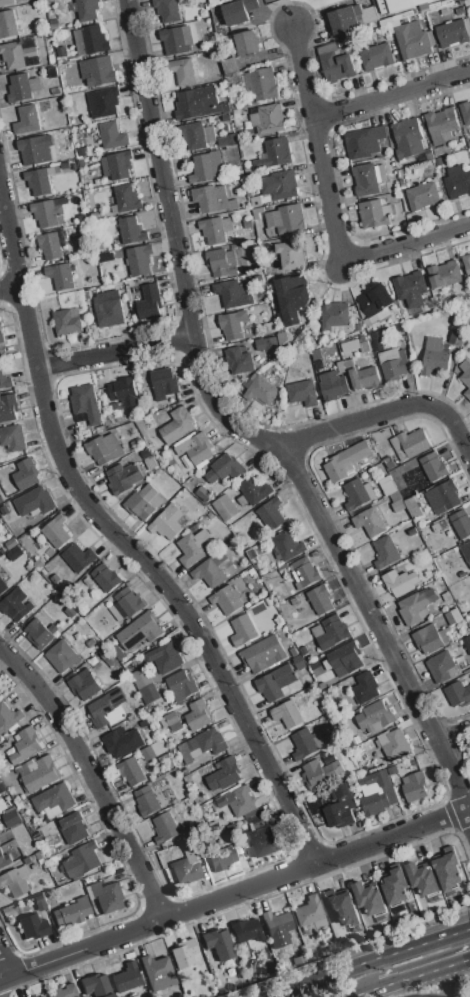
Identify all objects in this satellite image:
building: (266, 0)
building: (6, 2)
building: (251, 4)
building: (397, 5)
building: (87, 10)
building: (167, 10)
building: (235, 12)
building: (345, 18)
building: (53, 21)
building: (8, 24)
building: (54, 27)
building: (205, 32)
building: (452, 32)
building: (412, 37)
building: (176, 39)
building: (90, 40)
building: (247, 42)
building: (62, 52)
building: (16, 55)
building: (377, 56)
building: (335, 62)
building: (230, 65)
building: (99, 71)
building: (185, 71)
building: (262, 83)
building: (22, 87)
road: (392, 93)
building: (103, 102)
building: (198, 103)
building: (465, 112)
building: (268, 118)
building: (27, 120)
building: (441, 125)
building: (112, 135)
building: (199, 135)
building: (408, 138)
building: (227, 139)
building: (364, 141)
road: (319, 143)
building: (36, 148)
building: (81, 152)
building: (275, 153)
building: (116, 164)
building: (65, 165)
building: (208, 166)
building: (368, 178)
building: (38, 182)
building: (457, 182)
building: (279, 184)
building: (422, 196)
building: (127, 198)
building: (210, 198)
building: (60, 200)
building: (256, 200)
building: (232, 204)
building: (46, 212)
building: (257, 212)
building: (374, 213)
building: (288, 217)
building: (132, 229)
building: (215, 229)
road: (10, 236)
road: (405, 243)
building: (50, 245)
building: (290, 255)
building: (139, 260)
building: (222, 263)
building: (467, 263)
building: (61, 275)
building: (444, 275)
building: (410, 288)
building: (233, 292)
building: (293, 297)
building: (98, 298)
building: (150, 301)
building: (374, 301)
building: (111, 313)
building: (335, 315)
road: (27, 317)
building: (67, 321)
building: (233, 324)
building: (1, 336)
building: (376, 336)
building: (457, 337)
building: (282, 340)
building: (266, 343)
building: (349, 344)
building: (377, 345)
road: (115, 354)
building: (316, 354)
building: (434, 357)
building: (240, 360)
building: (393, 363)
building: (319, 365)
building: (341, 366)
building: (465, 376)
building: (364, 378)
building: (5, 380)
building: (163, 383)
building: (332, 385)
building: (260, 390)
building: (303, 392)
building: (123, 393)
building: (85, 402)
building: (8, 408)
road: (389, 414)
building: (177, 425)
road: (244, 430)
building: (13, 437)
building: (410, 443)
building: (104, 448)
building: (196, 448)
building: (346, 461)
building: (389, 462)
building: (433, 466)
building: (225, 468)
building: (26, 474)
building: (123, 478)
building: (388, 487)
building: (254, 489)
building: (202, 492)
building: (356, 493)
building: (444, 495)
building: (34, 501)
building: (143, 502)
building: (398, 505)
building: (225, 507)
building: (4, 510)
building: (270, 513)
building: (369, 521)
building: (167, 522)
building: (461, 523)
building: (56, 531)
building: (412, 531)
building: (11, 542)
building: (288, 546)
building: (192, 547)
building: (466, 550)
building: (385, 552)
building: (15, 553)
building: (79, 557)
building: (38, 563)
building: (210, 569)
building: (304, 572)
building: (105, 577)
building: (55, 578)
building: (400, 582)
building: (2, 585)
building: (226, 599)
building: (320, 599)
building: (16, 604)
building: (126, 604)
building: (417, 606)
road: (182, 610)
building: (70, 611)
building: (453, 616)
building: (243, 630)
building: (140, 631)
building: (333, 632)
building: (41, 633)
building: (430, 638)
building: (467, 642)
building: (304, 650)
building: (118, 653)
building: (105, 654)
building: (263, 654)
building: (61, 656)
building: (165, 657)
building: (344, 658)
building: (298, 662)
building: (442, 667)
building: (85, 683)
building: (275, 683)
building: (181, 684)
building: (146, 685)
building: (365, 687)
building: (459, 691)
building: (105, 706)
building: (287, 713)
building: (198, 714)
building: (375, 716)
building: (9, 718)
building: (173, 720)
road: (453, 732)
building: (122, 742)
building: (306, 743)
building: (26, 744)
building: (395, 744)
building: (202, 745)
building: (153, 750)
building: (166, 761)
building: (132, 770)
building: (392, 770)
building: (321, 772)
building: (37, 773)
building: (224, 774)
road: (92, 777)
building: (415, 786)
building: (2, 787)
building: (374, 791)
building: (147, 799)
building: (54, 800)
building: (242, 801)
building: (340, 807)
building: (11, 817)
building: (165, 827)
building: (72, 829)
building: (233, 831)
building: (261, 839)
building: (221, 858)
building: (4, 859)
building: (27, 860)
building: (82, 860)
building: (448, 868)
building: (185, 871)
building: (422, 878)
building: (15, 880)
building: (396, 886)
road: (233, 895)
building: (105, 896)
building: (369, 899)
building: (39, 903)
building: (82, 907)
building: (343, 908)
building: (308, 911)
building: (67, 916)
building: (277, 925)
building: (33, 927)
building: (247, 931)
building: (217, 941)
building: (184, 953)
building: (299, 961)
road: (373, 962)
road: (6, 966)
building: (158, 973)
road: (425, 973)
building: (127, 979)
road: (1, 984)
building: (96, 986)
building: (64, 992)
road: (368, 993)
building: (34, 996)
building: (40, 996)

